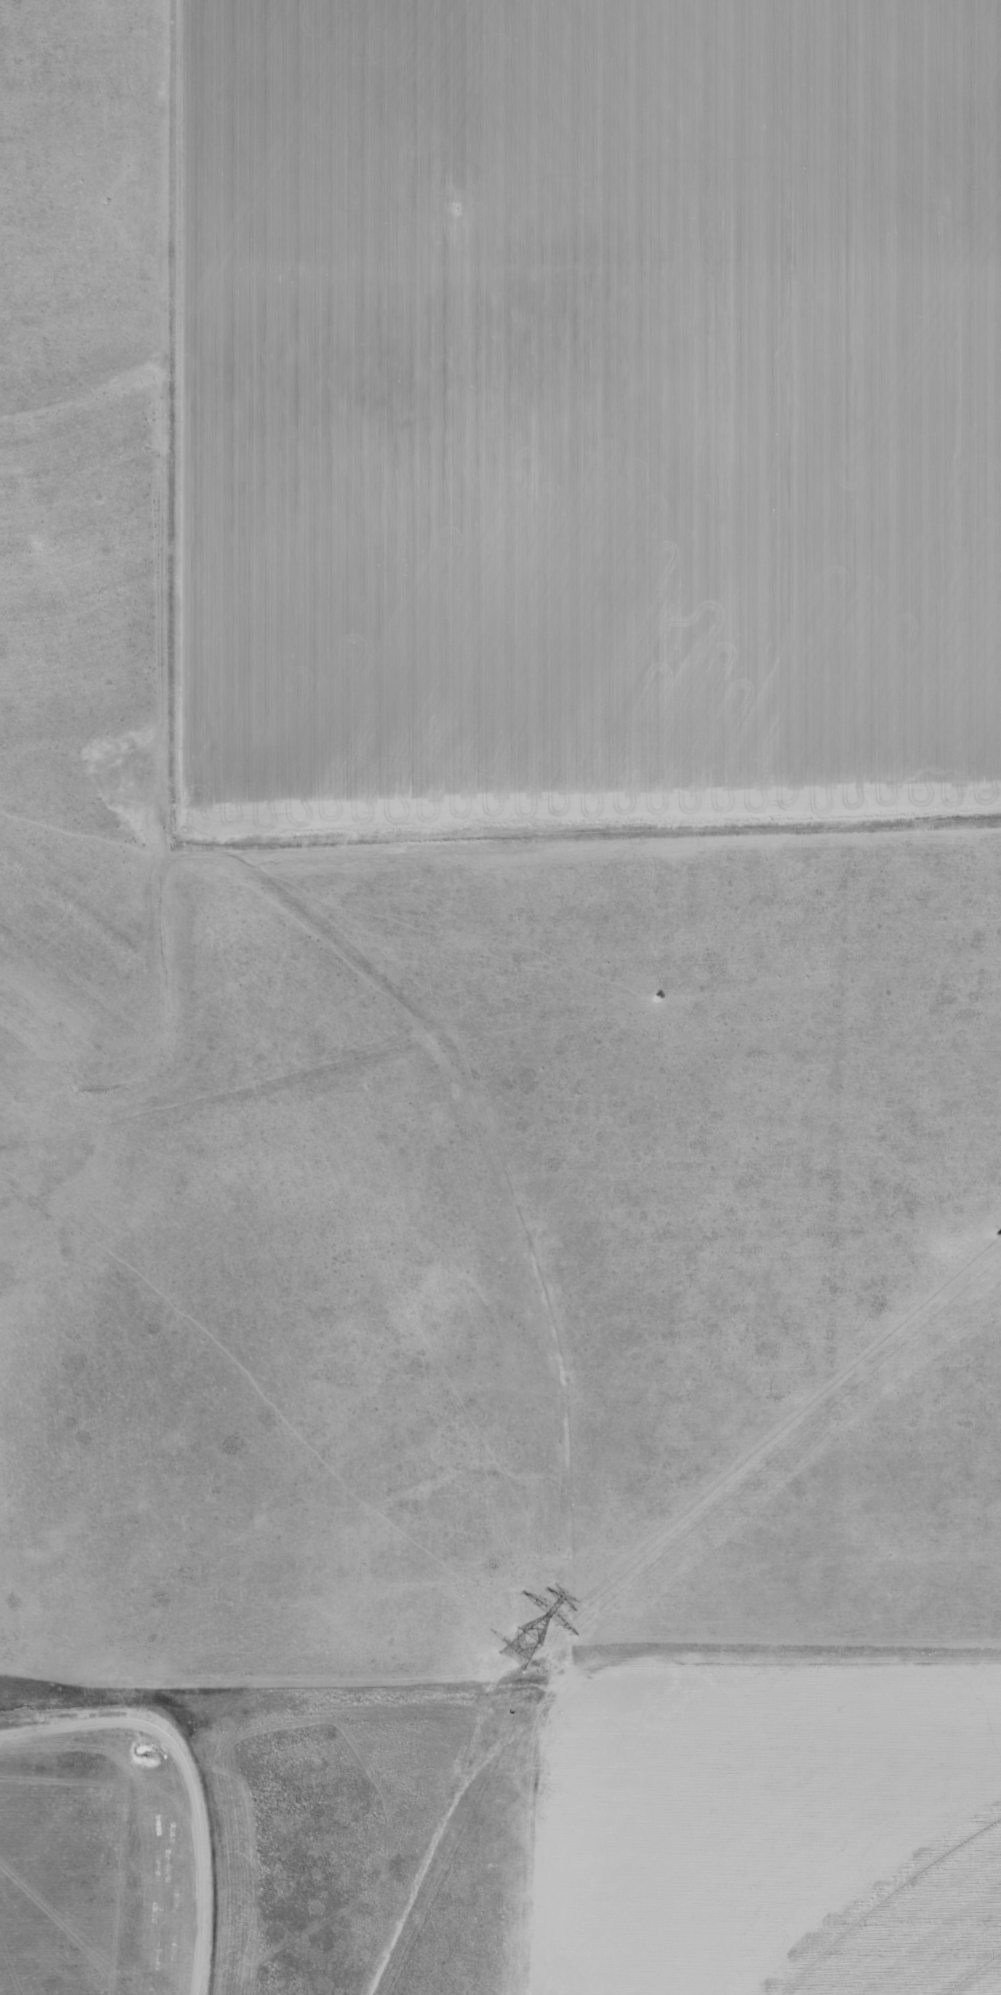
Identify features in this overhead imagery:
power tower: (994, 1236)
power tower: (518, 1647)

